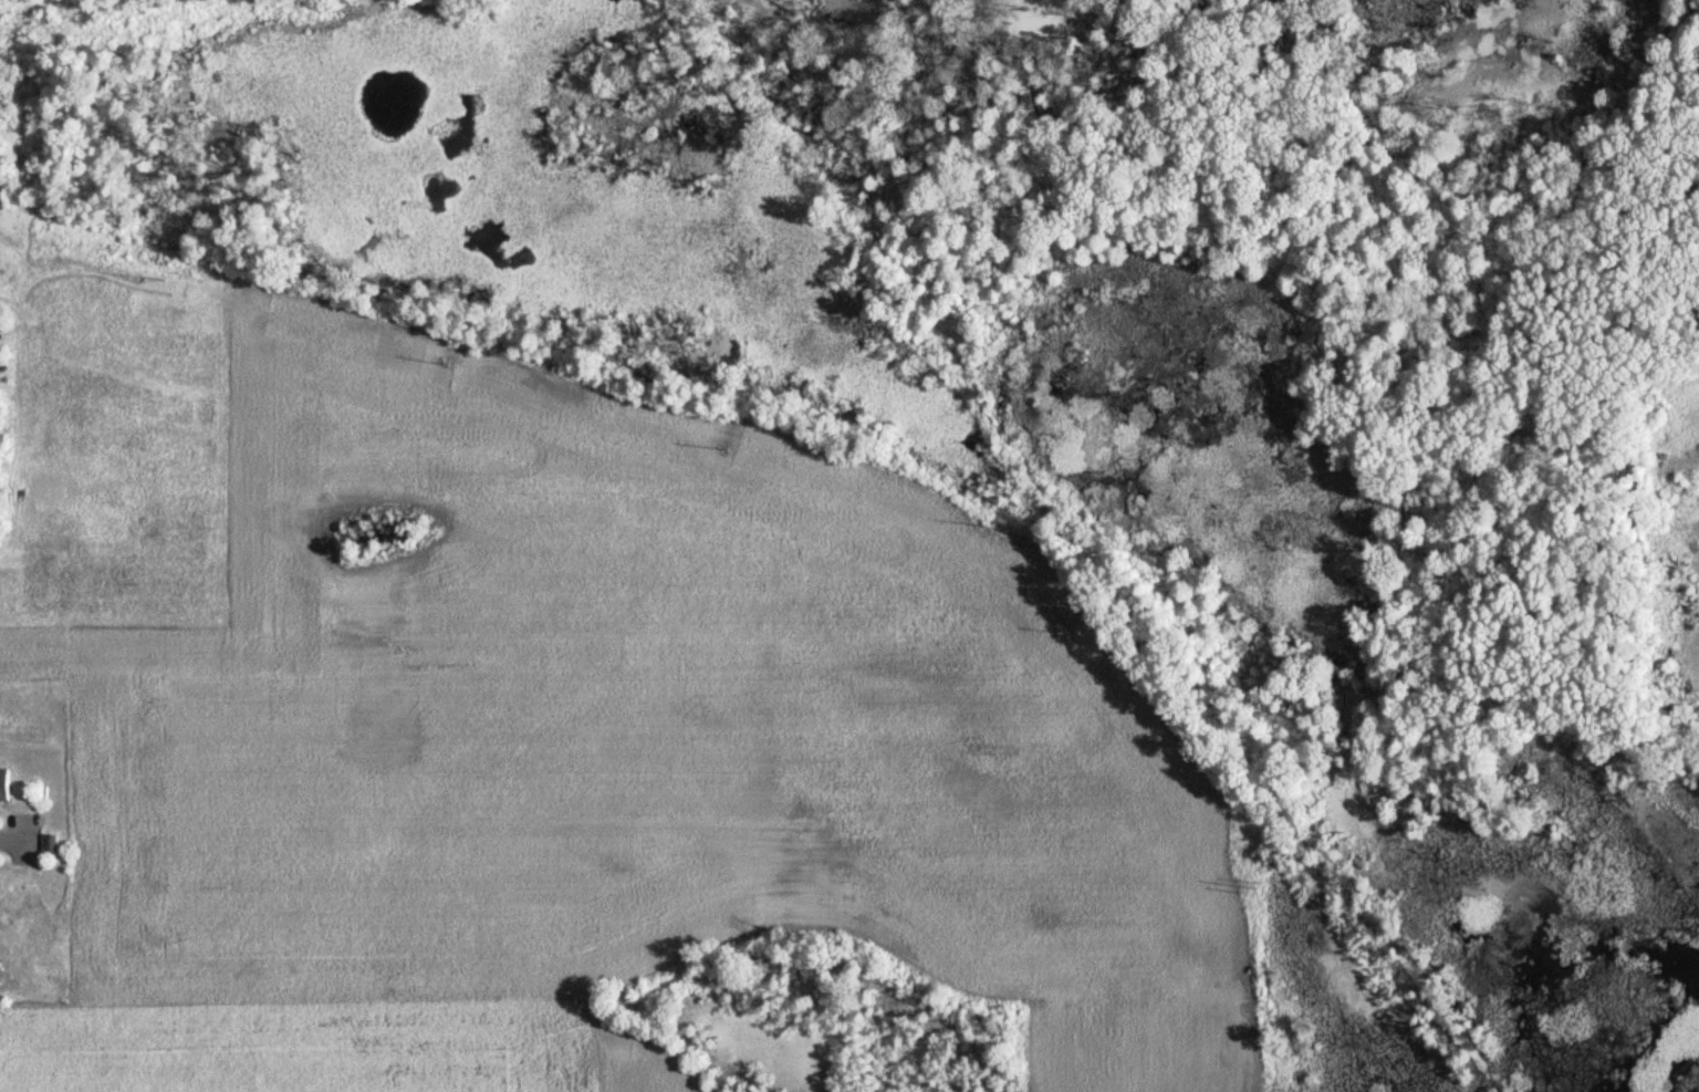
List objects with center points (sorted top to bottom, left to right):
building: (3, 786)
road: (9, 838)

